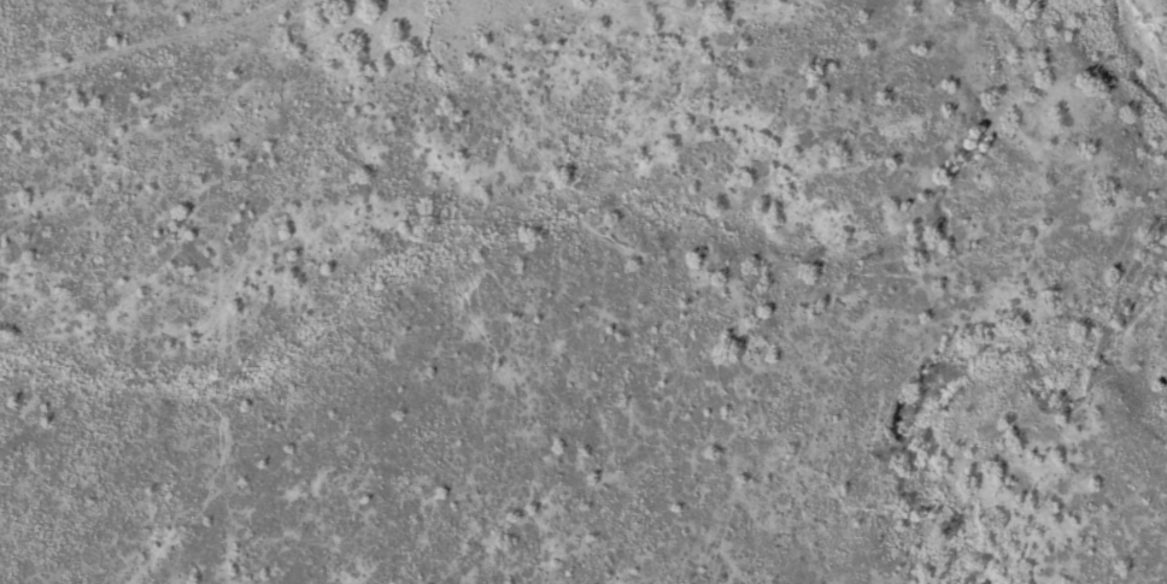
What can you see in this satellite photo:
road: (1162, 1)

